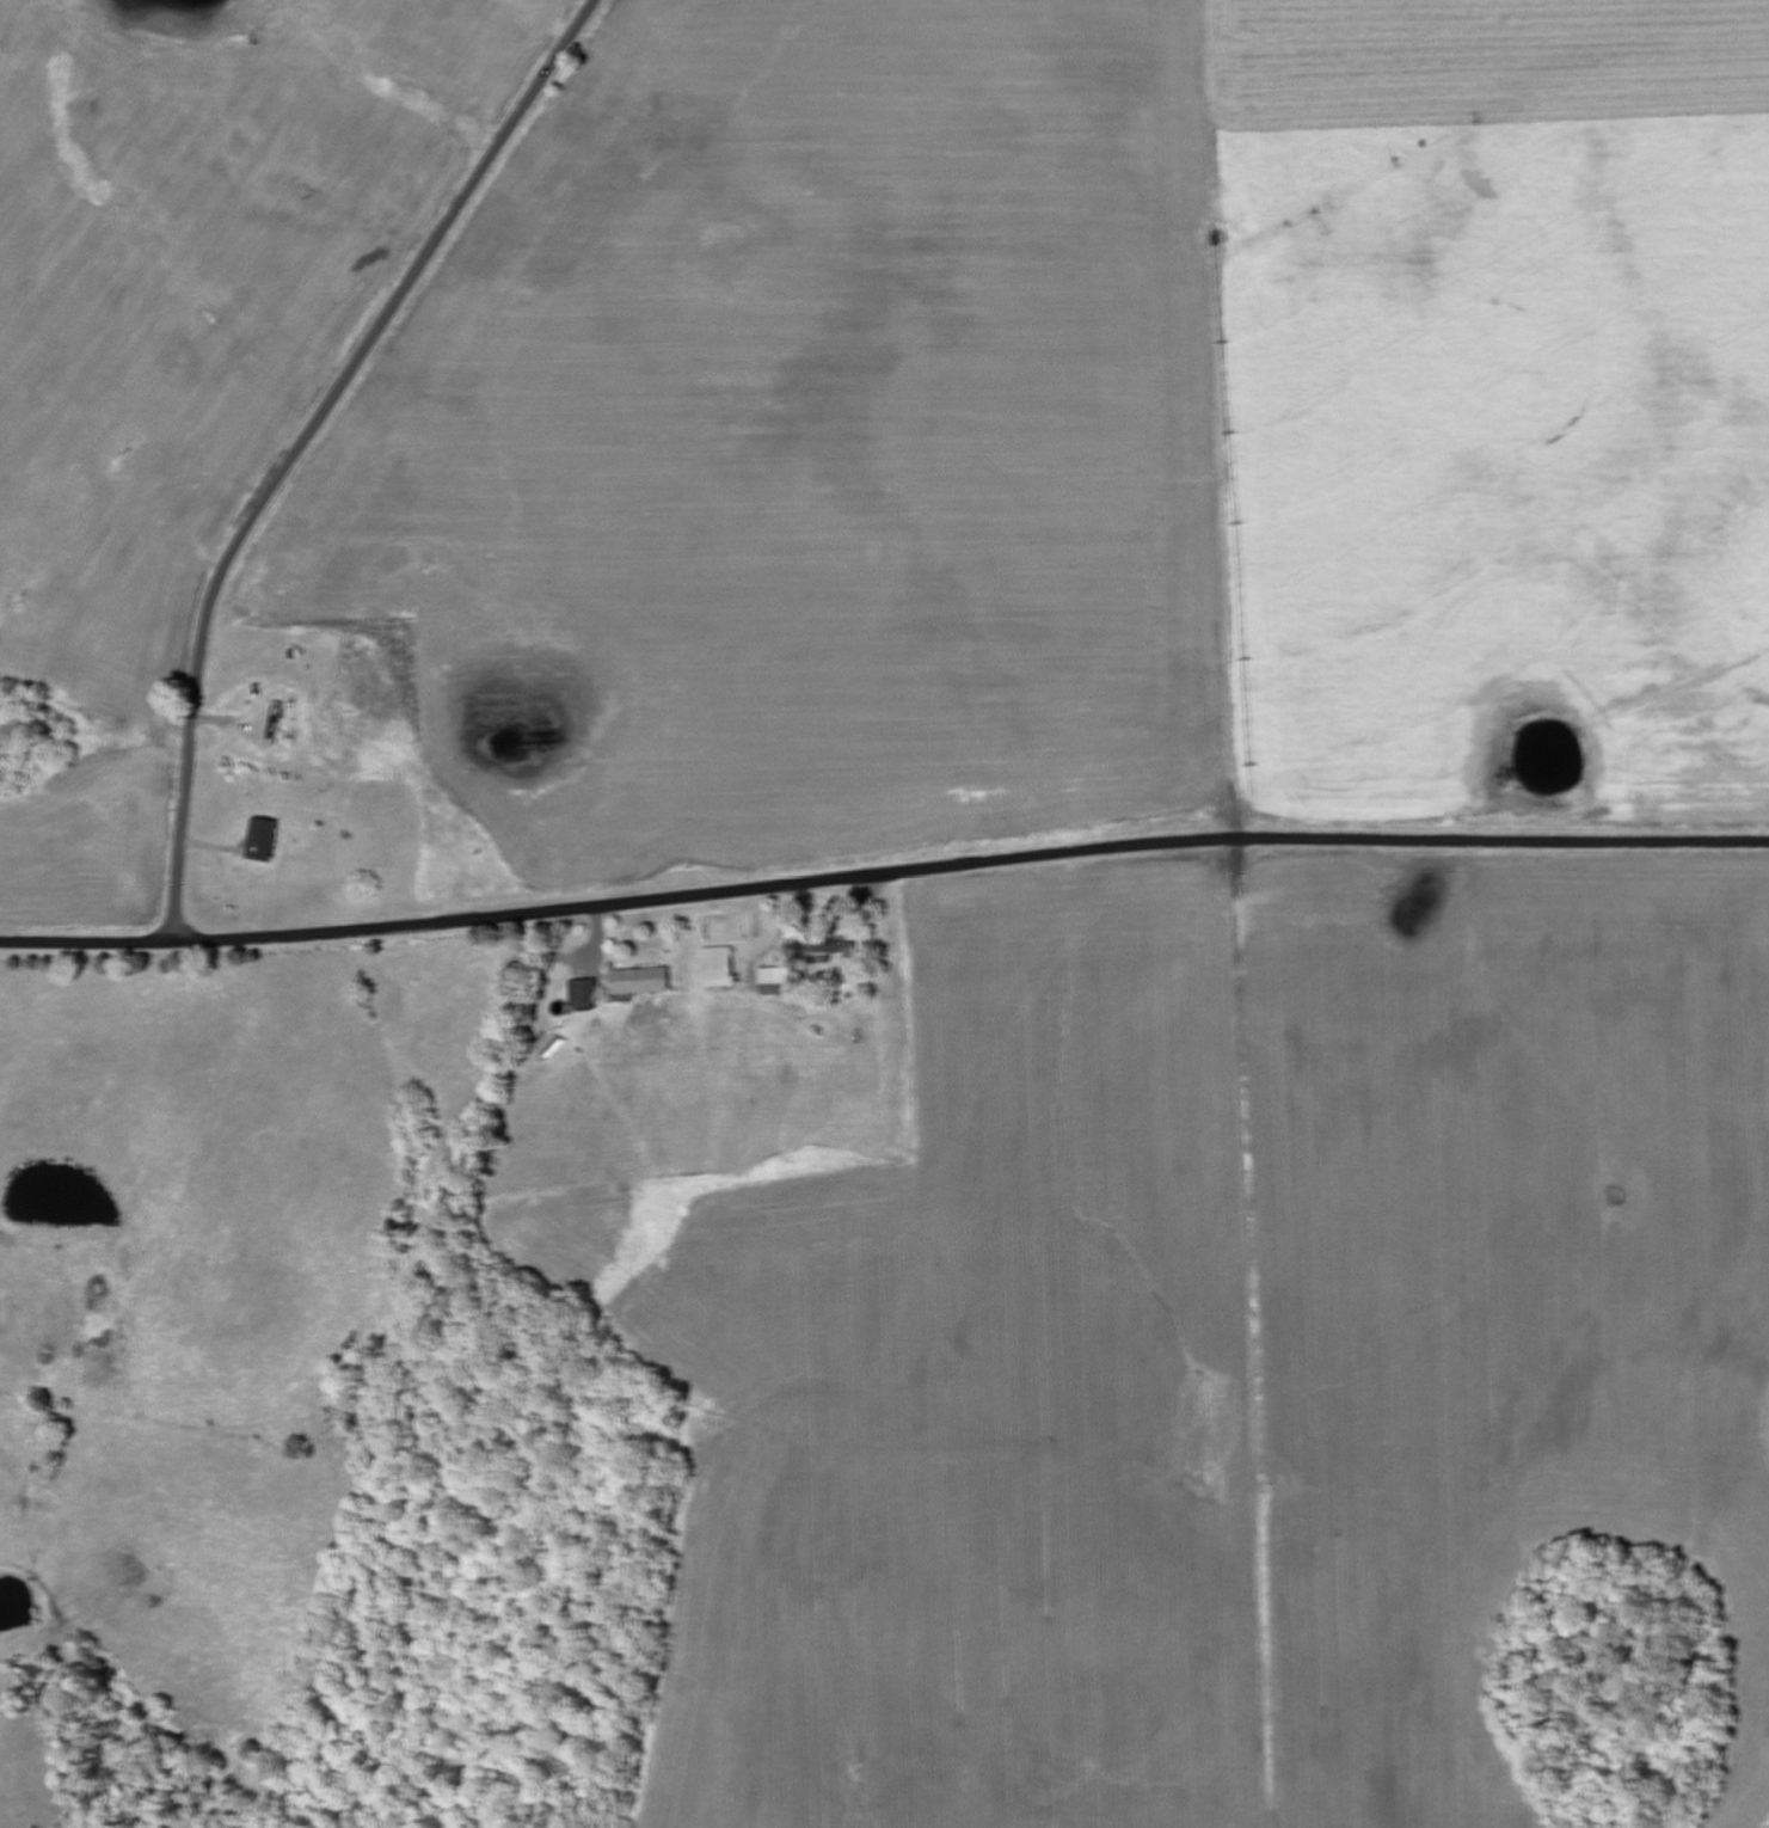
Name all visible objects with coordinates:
road: (307, 442)
building: (264, 841)
road: (971, 861)
road: (88, 943)
building: (836, 949)
building: (719, 968)
building: (641, 982)
building: (776, 982)
building: (585, 993)

